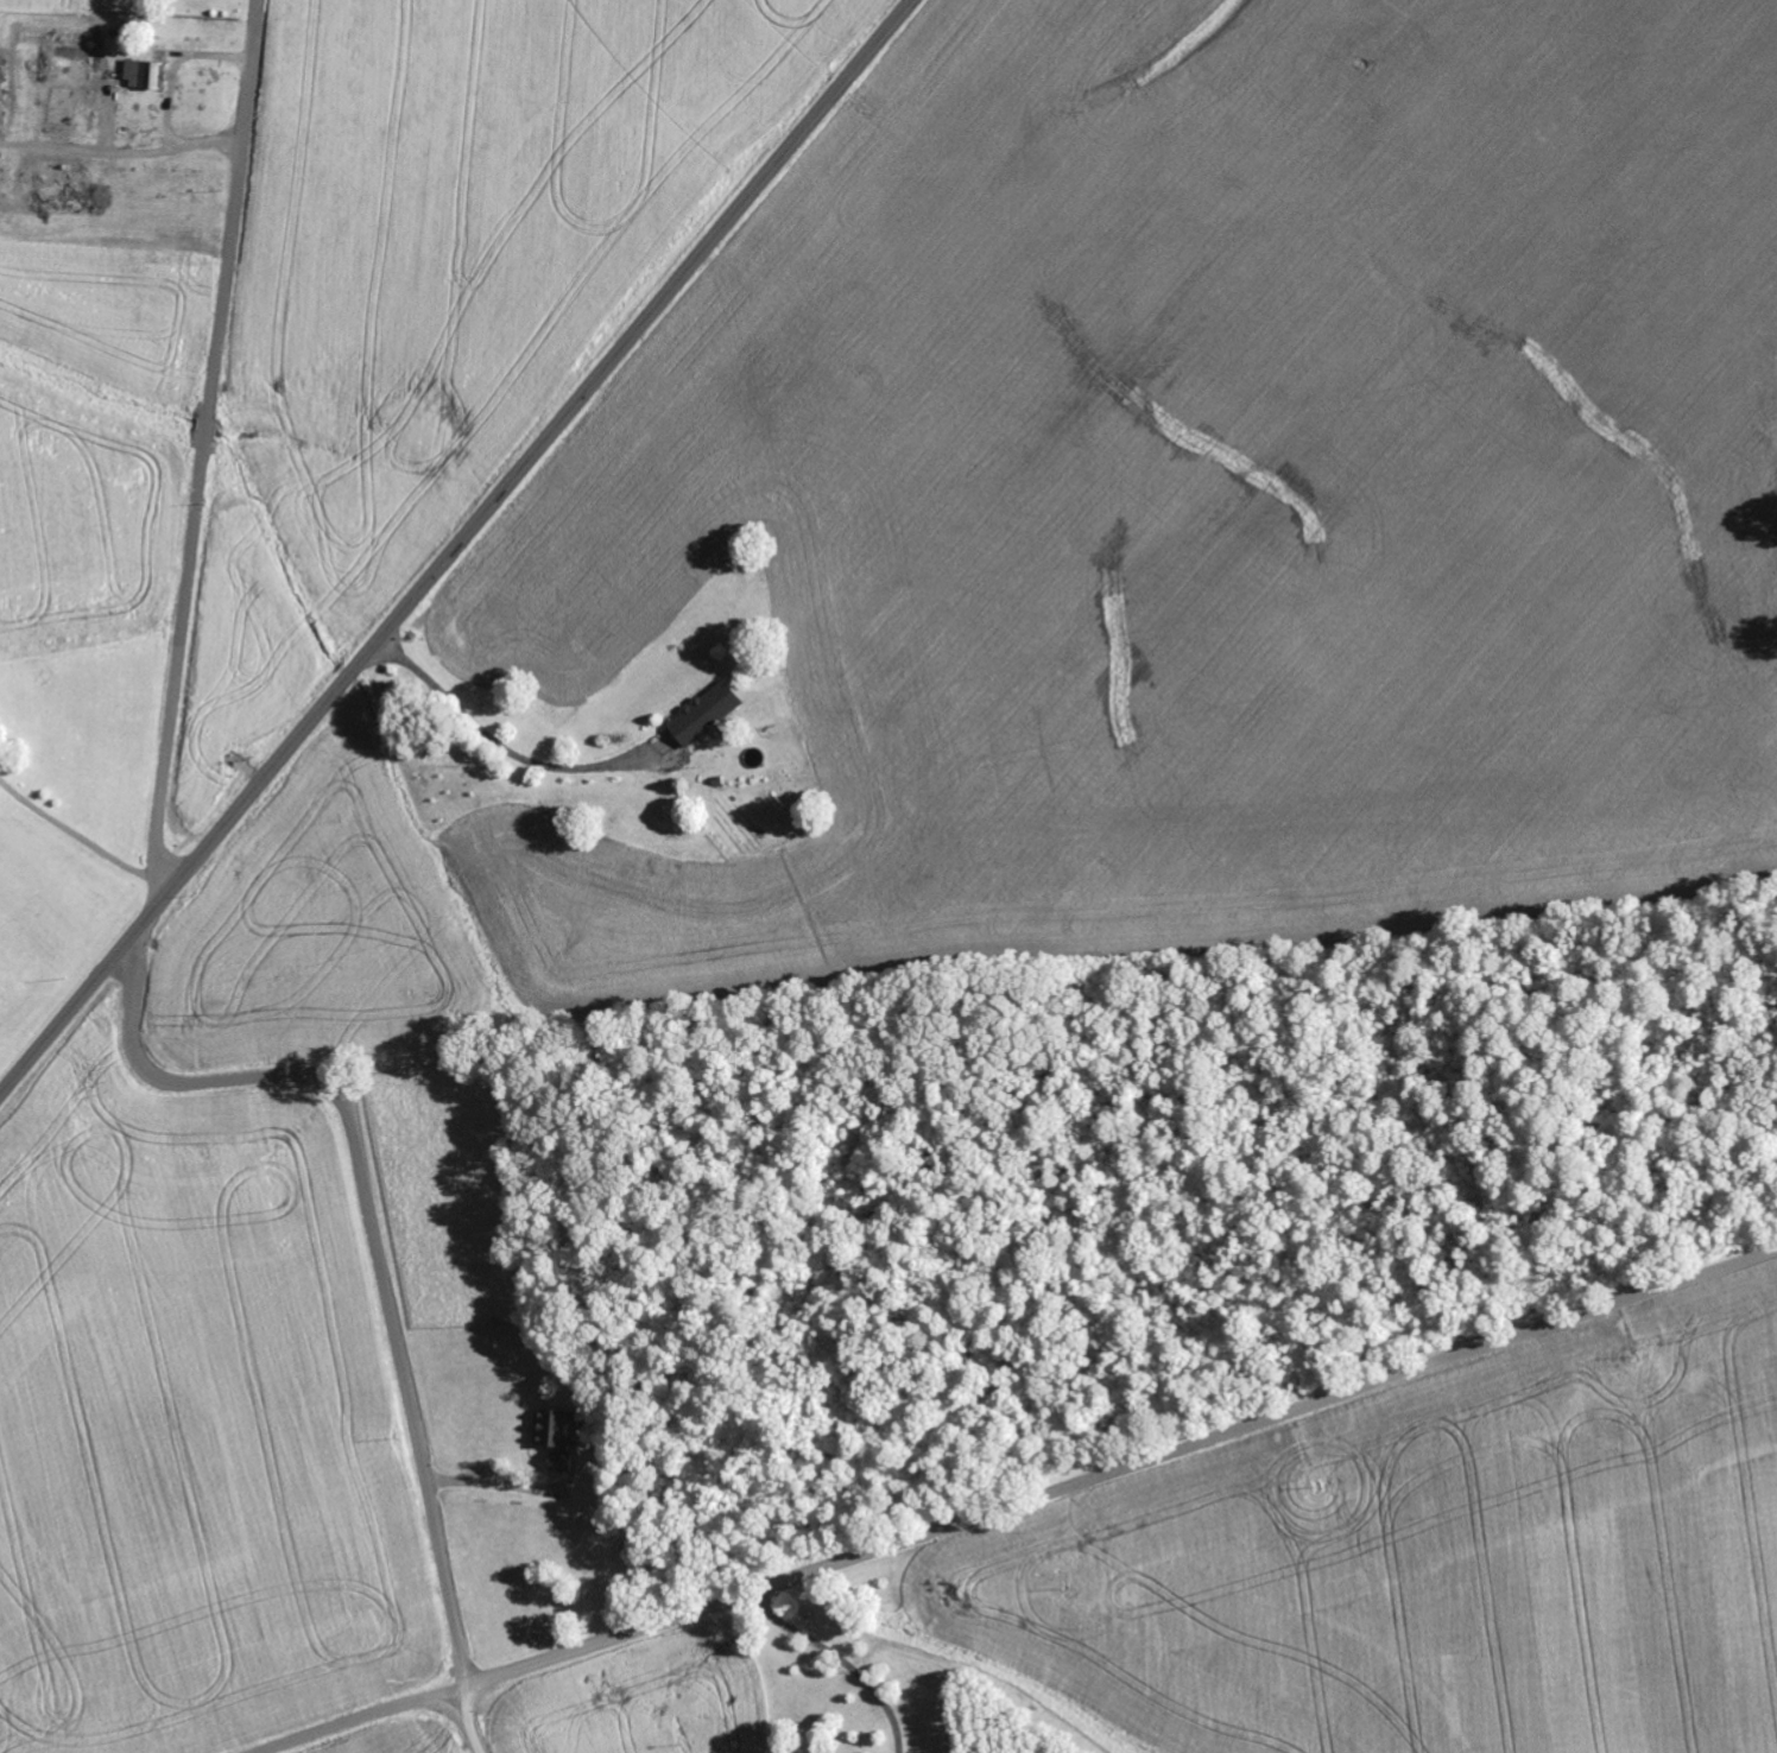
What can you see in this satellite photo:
building: (148, 77)
road: (202, 445)
road: (455, 546)
building: (709, 714)
road: (378, 1248)
building: (558, 1438)
road: (1024, 1506)

